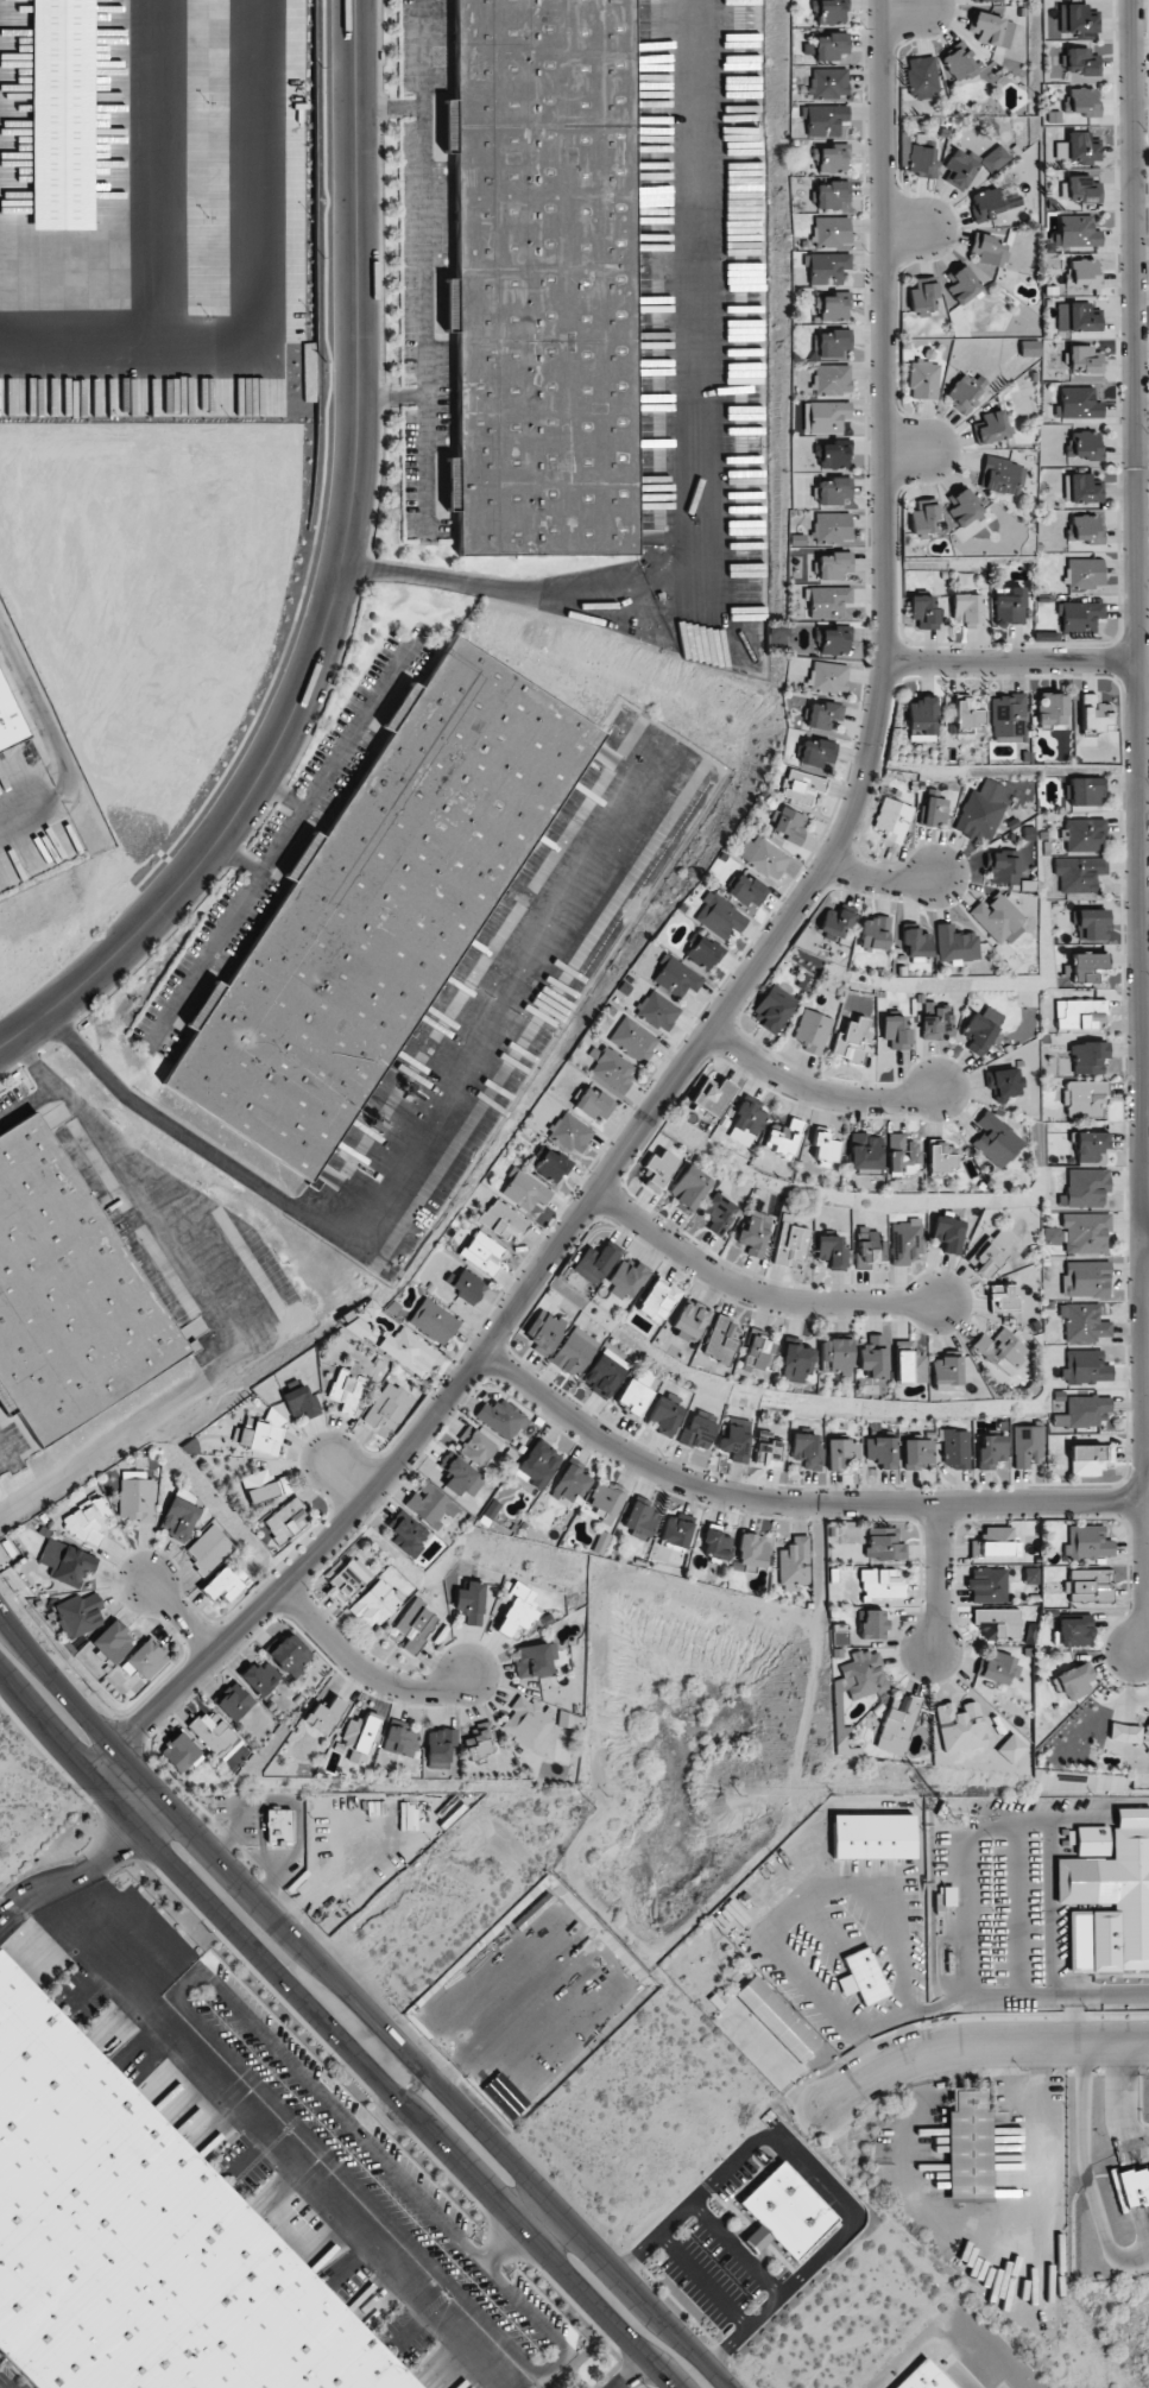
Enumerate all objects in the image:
road: (913, 10)
building: (828, 11)
building: (1078, 21)
building: (991, 29)
building: (831, 46)
building: (1080, 62)
building: (959, 63)
building: (921, 76)
building: (828, 83)
building: (1080, 101)
road: (390, 108)
building: (825, 120)
building: (1077, 147)
building: (831, 158)
building: (995, 159)
building: (921, 160)
building: (959, 169)
building: (1079, 189)
building: (828, 194)
road: (423, 198)
building: (987, 203)
road: (915, 228)
building: (829, 230)
building: (1077, 232)
building: (986, 249)
building: (825, 267)
building: (1081, 273)
building: (544, 278)
building: (961, 284)
building: (922, 296)
building: (831, 305)
building: (1077, 317)
building: (831, 343)
building: (1029, 348)
building: (1082, 359)
building: (831, 379)
building: (923, 380)
building: (965, 391)
building: (1078, 403)
building: (825, 416)
building: (991, 428)
road: (424, 435)
building: (1084, 446)
road: (920, 451)
building: (832, 454)
road: (690, 457)
building: (1002, 475)
building: (1081, 488)
building: (832, 489)
building: (962, 507)
building: (923, 518)
building: (832, 526)
building: (1085, 529)
building: (832, 566)
building: (1085, 573)
road: (339, 583)
building: (828, 601)
building: (1009, 605)
building: (967, 609)
building: (923, 611)
building: (1077, 615)
building: (777, 630)
building: (1044, 636)
building: (832, 640)
road: (1012, 657)
building: (828, 678)
building: (1050, 709)
building: (822, 714)
building: (1093, 714)
building: (10, 716)
building: (1008, 716)
building: (922, 718)
building: (967, 718)
road: (359, 724)
building: (816, 753)
building: (800, 786)
building: (1084, 790)
building: (933, 810)
building: (981, 810)
road: (295, 817)
building: (892, 820)
building: (787, 823)
road: (1138, 827)
building: (1085, 834)
building: (765, 858)
building: (1000, 868)
building: (1079, 872)
road: (882, 879)
building: (745, 890)
building: (381, 906)
building: (718, 916)
building: (997, 918)
building: (834, 922)
building: (1091, 924)
road: (219, 933)
building: (873, 933)
building: (915, 943)
building: (954, 945)
building: (702, 953)
building: (1087, 966)
building: (675, 977)
road: (741, 986)
building: (771, 1009)
building: (657, 1011)
building: (1080, 1013)
building: (936, 1023)
building: (981, 1029)
building: (812, 1031)
building: (896, 1032)
building: (632, 1040)
building: (851, 1041)
building: (1088, 1057)
building: (610, 1068)
building: (1002, 1084)
road: (51, 1086)
road: (815, 1086)
building: (712, 1095)
building: (1084, 1098)
building: (593, 1103)
building: (744, 1124)
building: (570, 1132)
building: (782, 1138)
building: (995, 1139)
building: (823, 1145)
building: (1090, 1146)
building: (864, 1150)
building: (899, 1151)
building: (941, 1156)
building: (551, 1164)
building: (658, 1170)
building: (1085, 1187)
building: (689, 1188)
building: (525, 1190)
road: (159, 1199)
building: (719, 1213)
building: (501, 1220)
building: (755, 1232)
building: (947, 1232)
building: (1086, 1232)
building: (905, 1240)
road: (1147, 1240)
building: (790, 1244)
building: (869, 1246)
building: (831, 1251)
building: (482, 1252)
building: (991, 1252)
building: (594, 1263)
building: (626, 1278)
building: (1086, 1278)
building: (465, 1283)
road: (755, 1285)
building: (65, 1290)
building: (1004, 1296)
building: (658, 1299)
building: (433, 1321)
building: (689, 1321)
building: (1084, 1322)
building: (356, 1327)
building: (543, 1331)
building: (721, 1338)
building: (192, 1346)
building: (409, 1350)
building: (575, 1351)
building: (999, 1351)
building: (758, 1352)
building: (834, 1356)
building: (795, 1363)
building: (872, 1364)
building: (908, 1364)
building: (1085, 1366)
building: (605, 1372)
building: (945, 1372)
building: (347, 1388)
building: (633, 1397)
building: (301, 1401)
building: (389, 1405)
building: (1082, 1411)
building: (667, 1413)
building: (500, 1419)
building: (699, 1429)
building: (261, 1434)
building: (736, 1441)
building: (474, 1446)
building: (1028, 1446)
building: (768, 1448)
building: (955, 1448)
building: (806, 1449)
building: (882, 1451)
building: (991, 1451)
road: (4, 1452)
building: (841, 1452)
building: (917, 1453)
building: (1088, 1459)
building: (459, 1474)
road: (348, 1478)
building: (570, 1480)
building: (257, 1485)
building: (282, 1485)
building: (135, 1496)
building: (605, 1498)
road: (790, 1502)
building: (430, 1505)
building: (181, 1514)
building: (639, 1520)
building: (284, 1521)
building: (86, 1522)
building: (676, 1533)
building: (406, 1535)
building: (1087, 1542)
building: (716, 1543)
building: (995, 1543)
building: (883, 1544)
building: (209, 1549)
building: (752, 1549)
building: (794, 1562)
building: (70, 1565)
building: (1030, 1575)
road: (933, 1578)
building: (347, 1580)
building: (880, 1584)
building: (222, 1585)
building: (987, 1585)
building: (1087, 1585)
building: (471, 1602)
building: (375, 1603)
building: (517, 1609)
building: (78, 1615)
road: (182, 1618)
building: (999, 1621)
building: (415, 1624)
building: (873, 1624)
building: (1073, 1631)
building: (112, 1641)
building: (290, 1654)
building: (146, 1659)
building: (535, 1660)
building: (997, 1667)
road: (366, 1668)
building: (861, 1675)
building: (260, 1678)
building: (1074, 1680)
building: (233, 1700)
building: (324, 1714)
building: (526, 1721)
building: (897, 1725)
building: (961, 1726)
building: (1129, 1733)
building: (215, 1735)
building: (359, 1736)
building: (399, 1741)
building: (479, 1741)
building: (1012, 1745)
building: (438, 1748)
building: (179, 1751)
road: (156, 1817)
building: (279, 1826)
building: (873, 1836)
building: (1091, 1840)
road: (71, 1872)
building: (1110, 1900)
building: (861, 1977)
road: (1088, 1992)
road: (359, 2003)
building: (777, 2019)
road: (335, 2029)
road: (977, 2043)
building: (968, 2144)
road: (289, 2149)
building: (1132, 2186)
building: (785, 2212)
road: (544, 2223)
building: (139, 2242)
road: (633, 2374)
building: (924, 2377)
road: (964, 2380)

